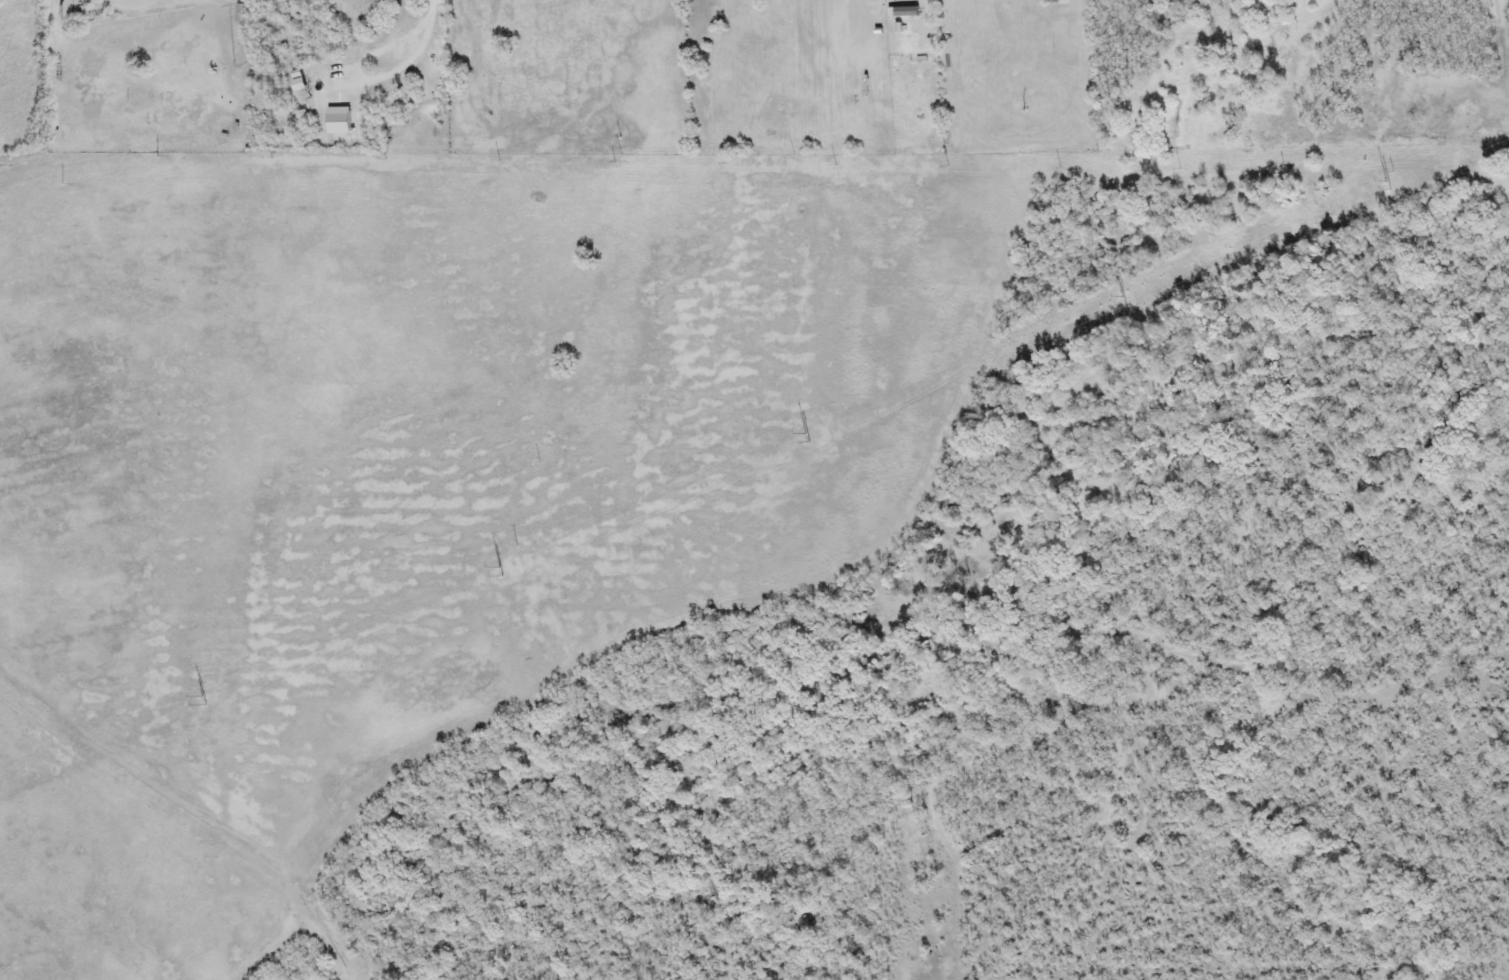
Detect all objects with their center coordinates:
road: (127, 11)
road: (413, 56)
power tower: (276, 81)
power tower: (1396, 183)
power tower: (1117, 304)
power tower: (814, 435)
power tower: (512, 568)
power tower: (211, 699)

